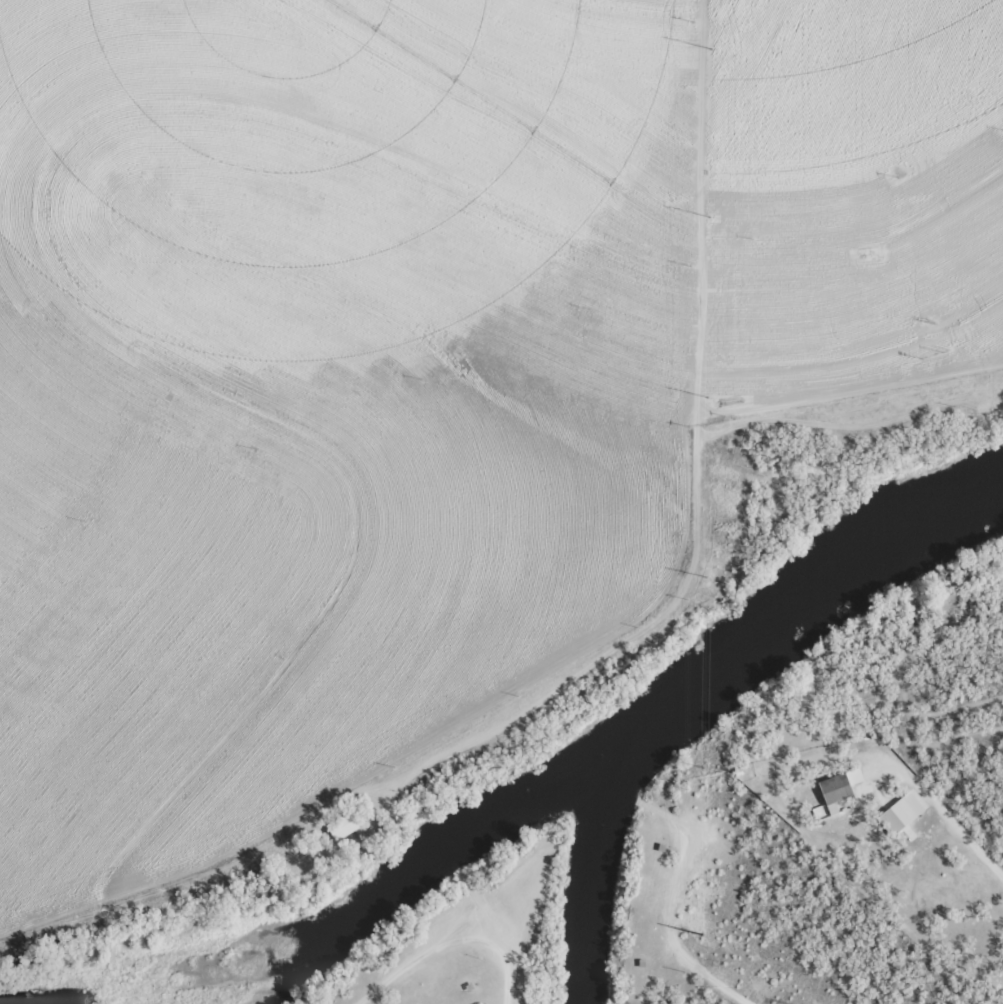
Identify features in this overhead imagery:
road: (745, 256)
river: (799, 602)
building: (835, 790)
building: (904, 810)
building: (343, 826)
river: (429, 869)
road: (521, 980)

